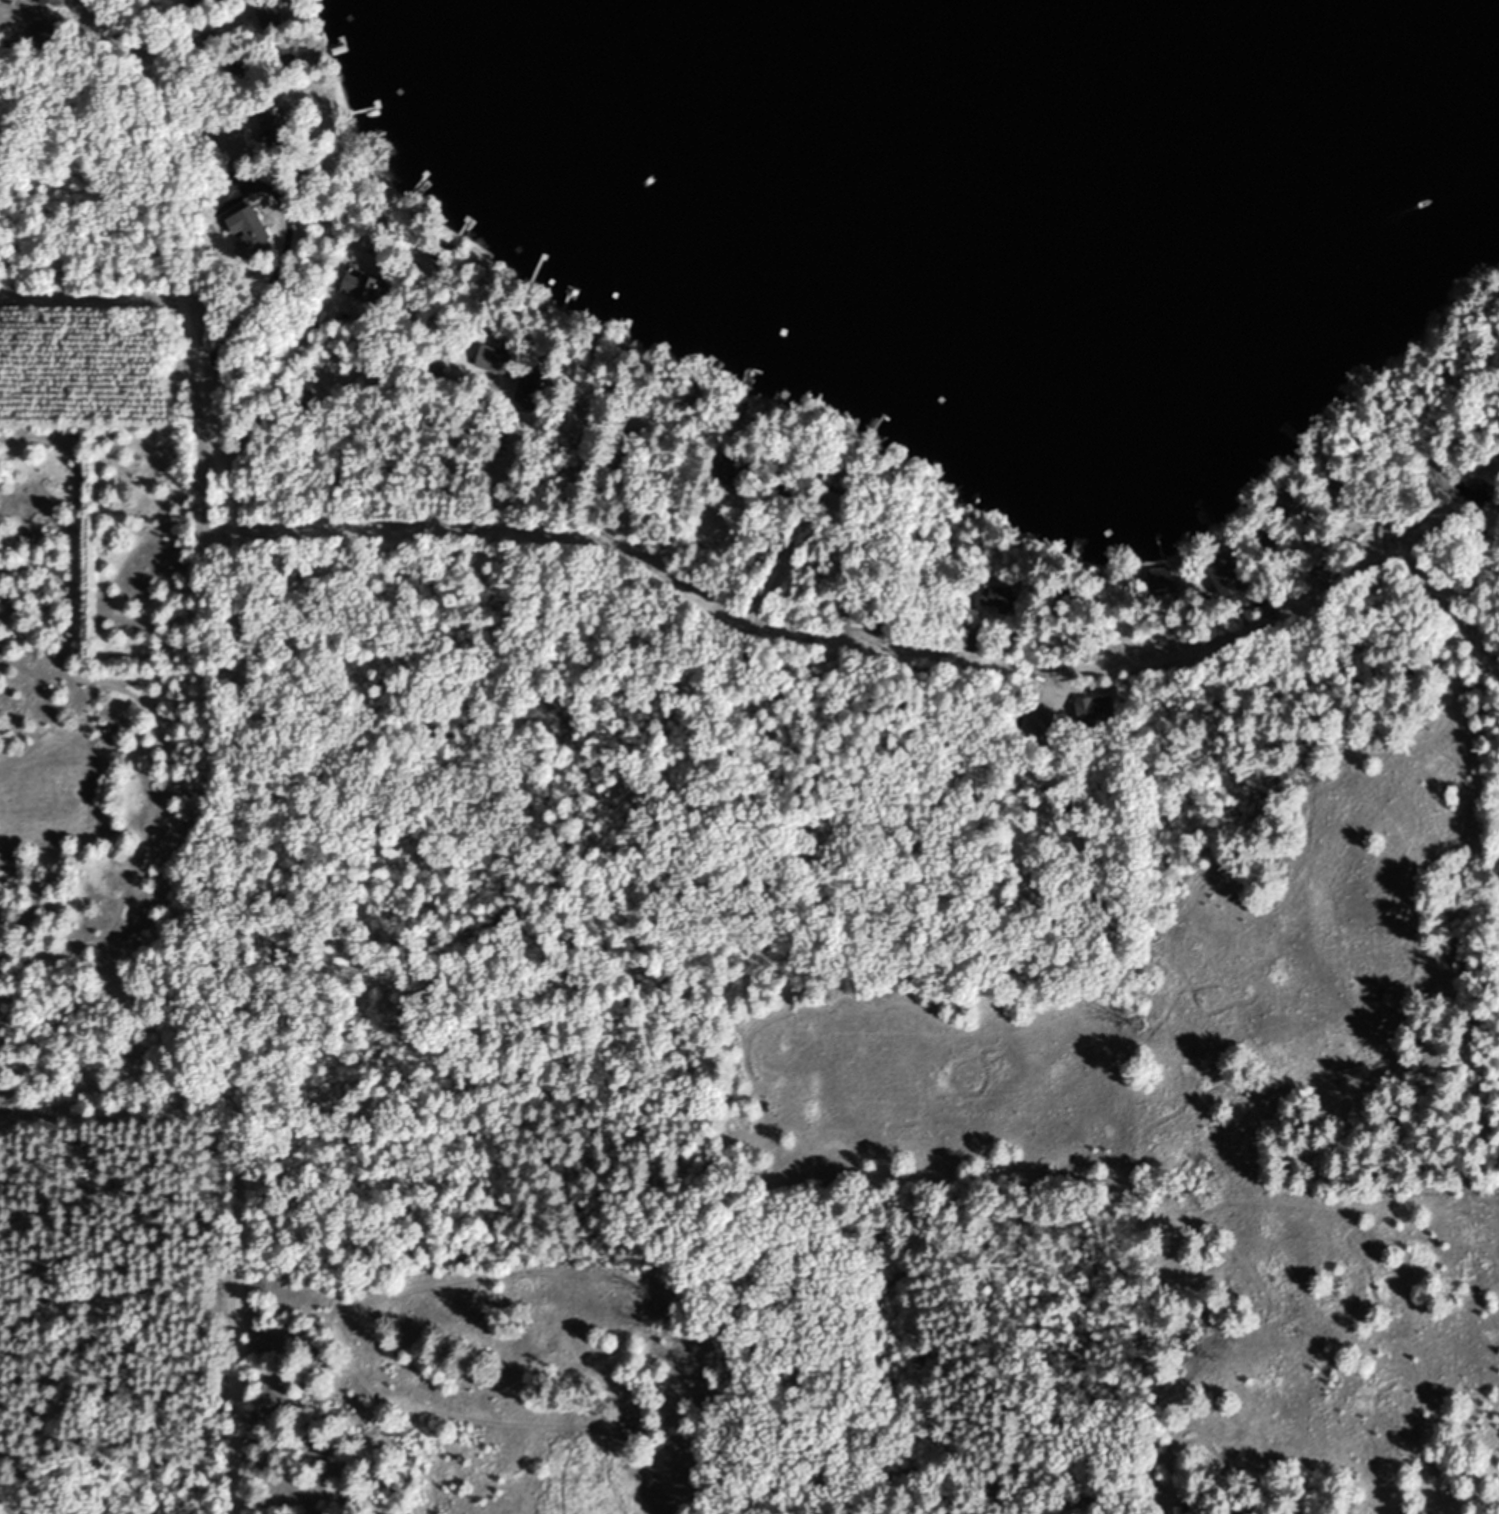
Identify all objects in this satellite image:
building: (45, 1)
building: (265, 12)
road: (77, 28)
building: (37, 39)
building: (270, 126)
building: (245, 227)
road: (272, 264)
building: (360, 287)
building: (491, 359)
building: (570, 423)
building: (735, 472)
road: (457, 493)
building: (1321, 574)
building: (1156, 578)
building: (1220, 578)
building: (997, 597)
road: (1315, 607)
building: (973, 643)
building: (1093, 707)
road: (210, 752)
building: (1170, 1509)

